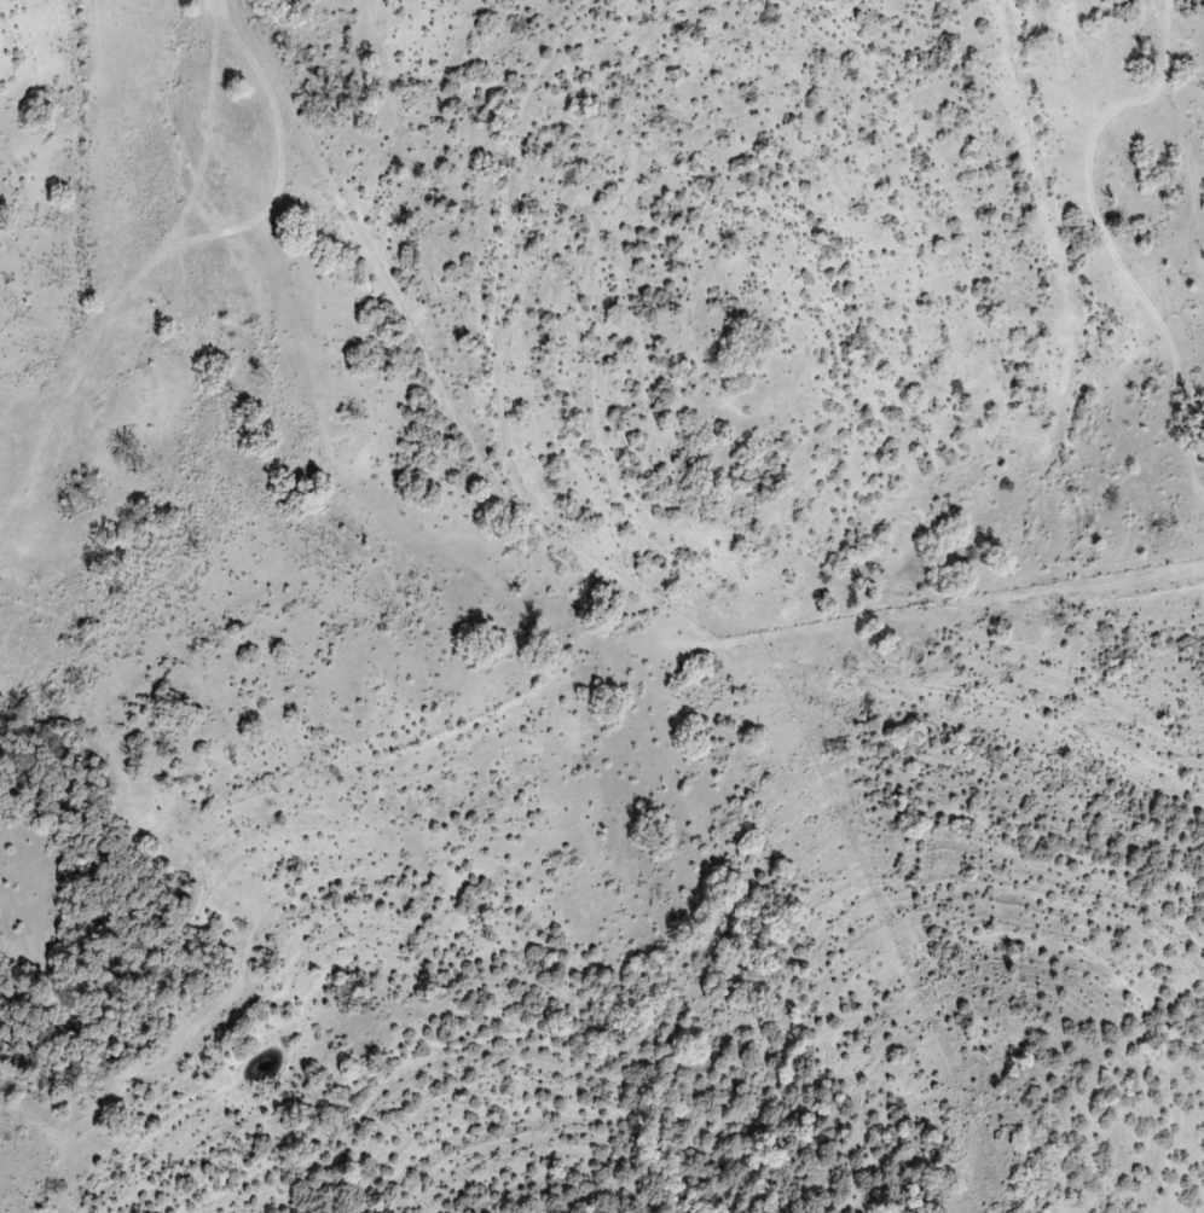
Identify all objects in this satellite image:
road: (1118, 283)

